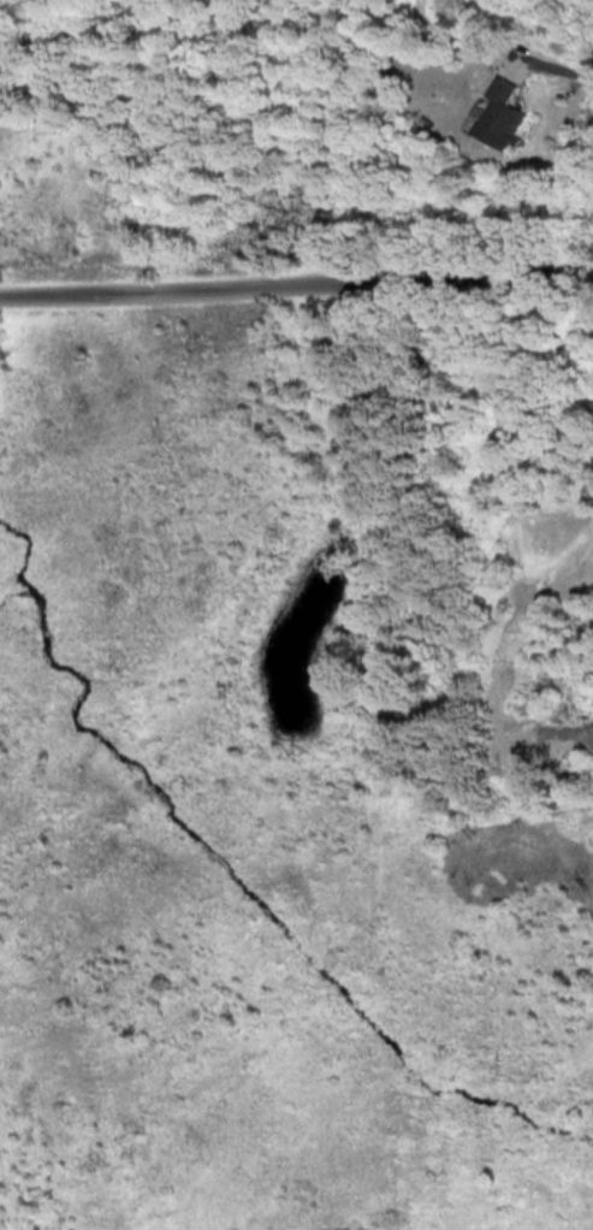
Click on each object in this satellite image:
building: (508, 114)
road: (296, 278)

